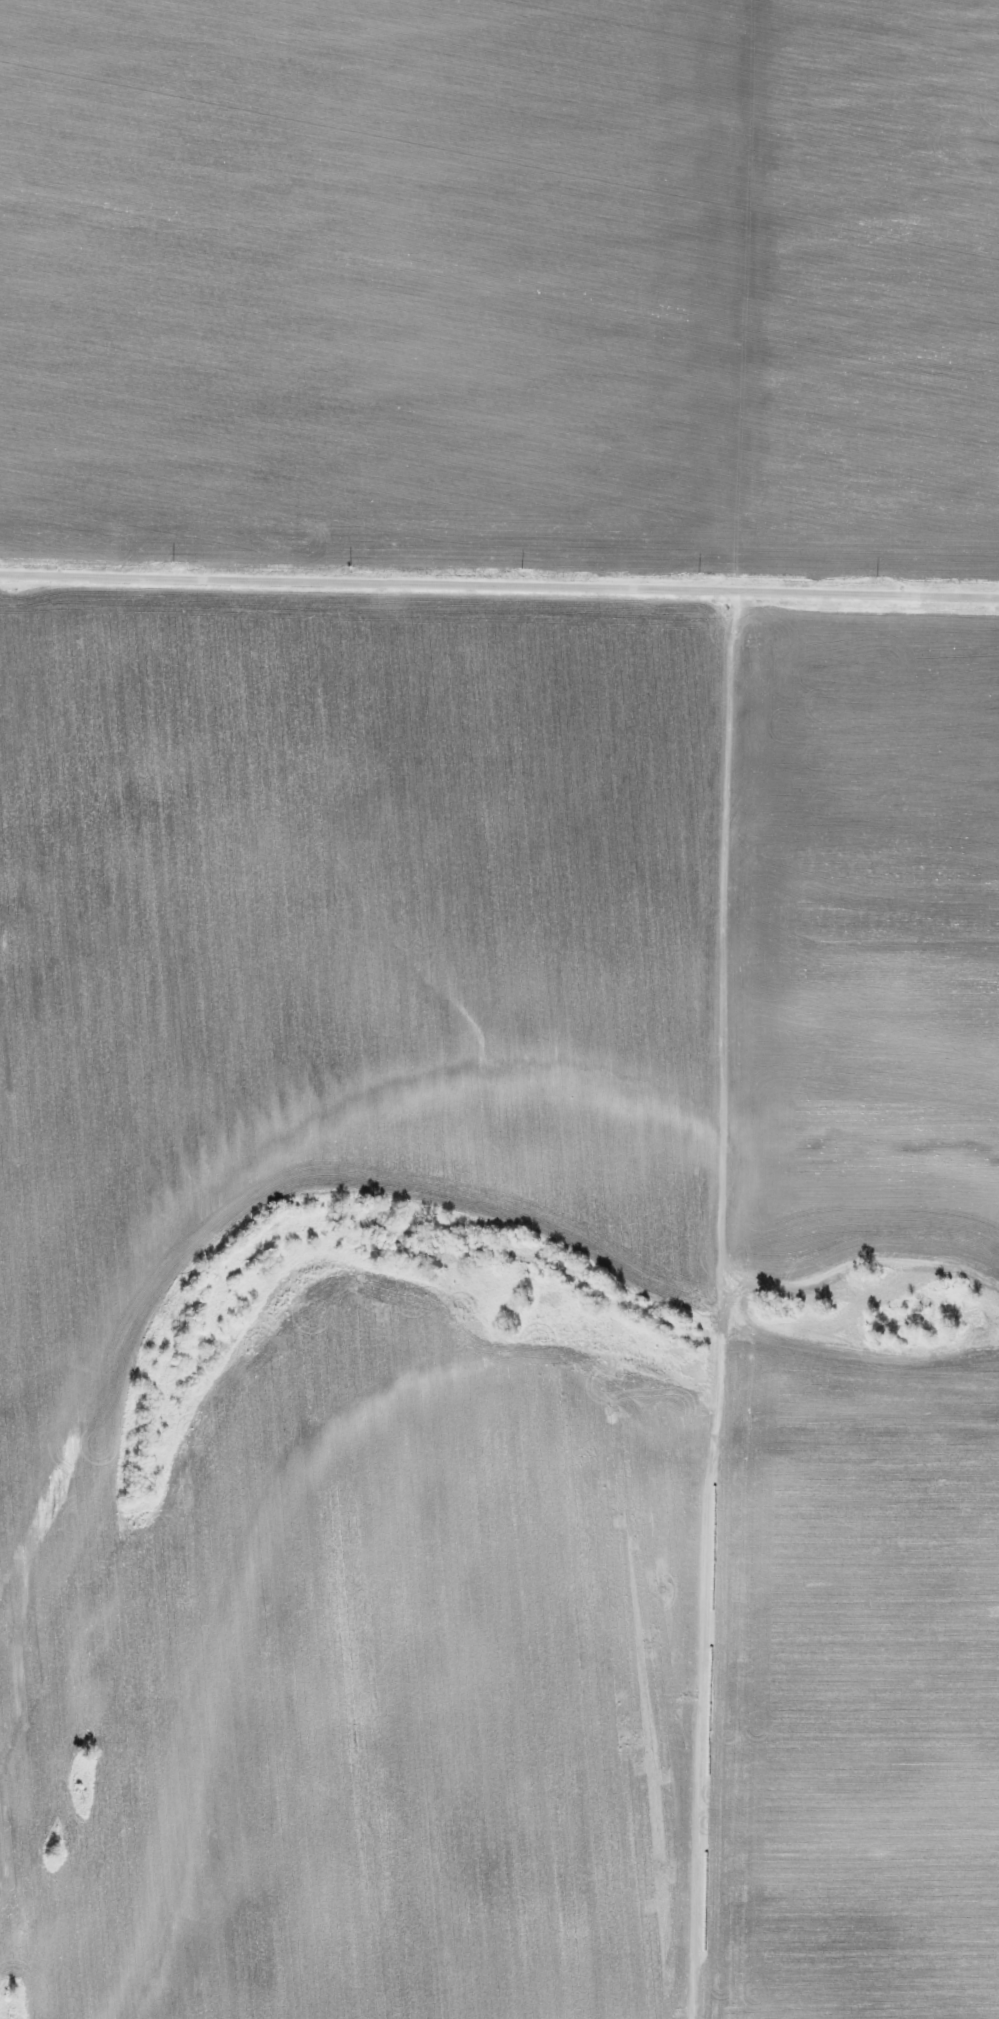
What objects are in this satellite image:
road: (499, 584)

